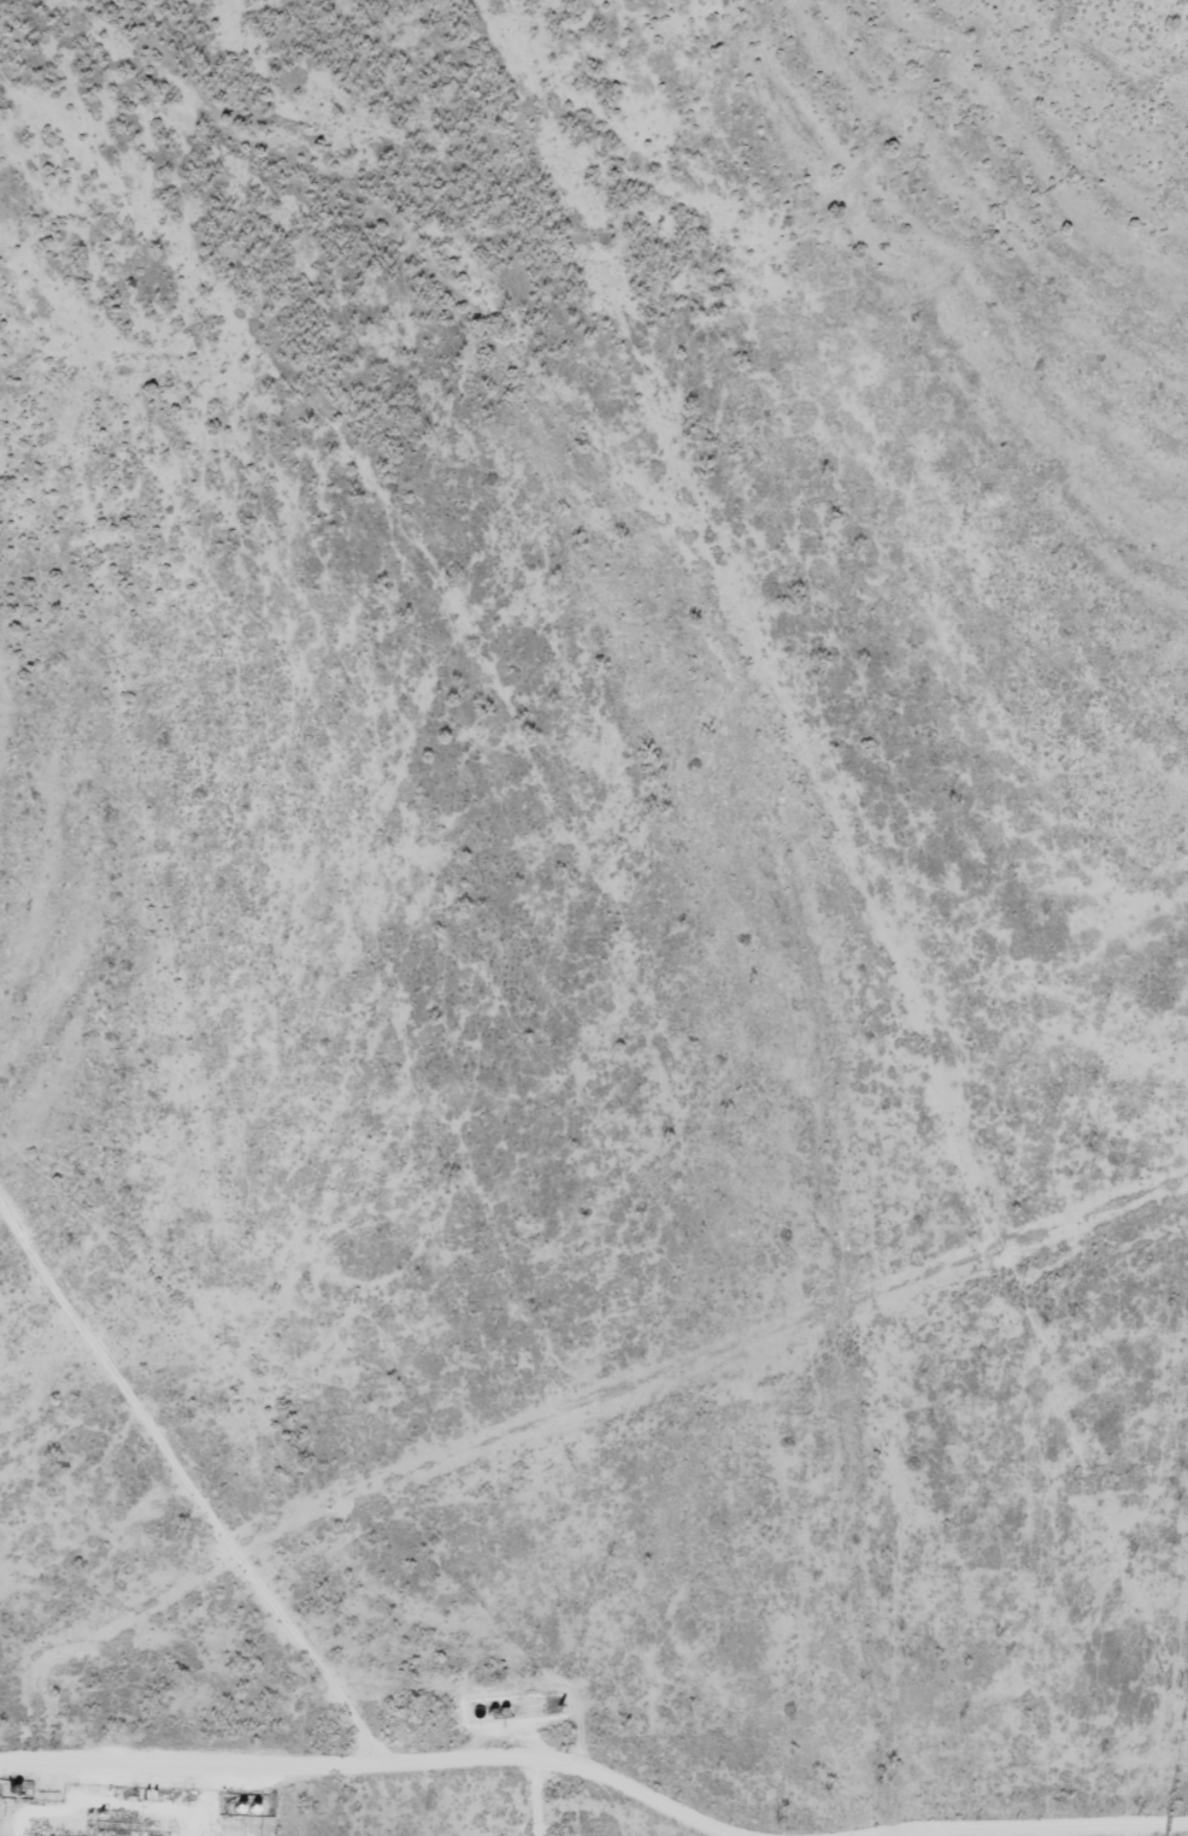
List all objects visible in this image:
road: (192, 1460)
road: (360, 1769)

